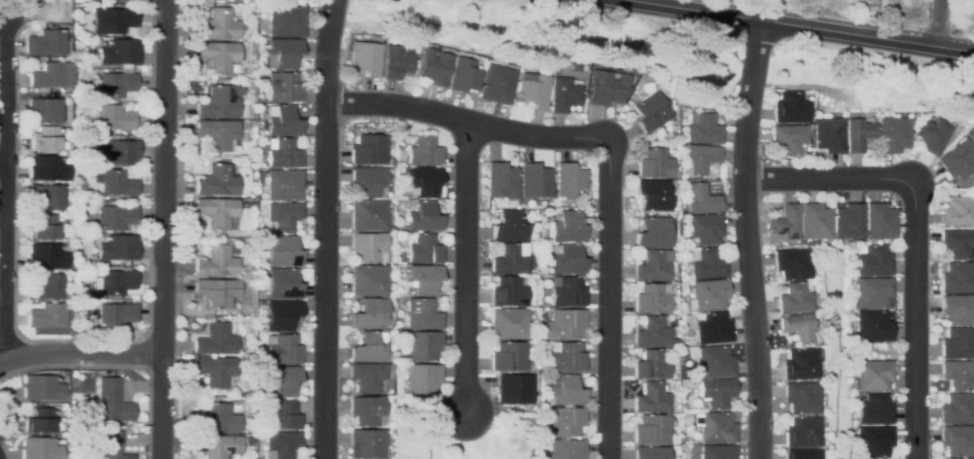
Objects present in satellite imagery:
road: (665, 3)
building: (80, 10)
building: (118, 20)
building: (286, 21)
road: (938, 23)
building: (218, 25)
road: (801, 25)
building: (47, 42)
building: (120, 52)
building: (285, 52)
building: (219, 56)
building: (365, 59)
building: (396, 63)
building: (435, 68)
building: (53, 76)
building: (465, 76)
building: (497, 84)
building: (114, 85)
building: (283, 87)
building: (607, 88)
building: (533, 90)
building: (565, 94)
building: (259, 102)
building: (218, 103)
building: (791, 108)
building: (44, 110)
building: (652, 111)
building: (113, 117)
building: (253, 118)
building: (244, 121)
building: (283, 122)
building: (672, 122)
road: (467, 124)
building: (672, 128)
building: (701, 128)
building: (962, 130)
building: (218, 134)
building: (858, 134)
building: (669, 135)
building: (829, 135)
building: (893, 135)
building: (933, 135)
building: (789, 138)
building: (45, 139)
building: (369, 149)
building: (118, 151)
building: (424, 152)
building: (283, 153)
building: (699, 158)
building: (958, 159)
road: (4, 161)
building: (655, 164)
building: (47, 168)
building: (569, 179)
building: (501, 180)
road: (828, 180)
building: (217, 181)
building: (369, 181)
building: (534, 181)
building: (114, 182)
building: (422, 182)
building: (284, 185)
road: (7, 191)
building: (653, 195)
building: (45, 196)
building: (699, 198)
building: (248, 199)
building: (79, 207)
building: (958, 211)
building: (216, 212)
building: (368, 215)
building: (282, 216)
building: (116, 217)
building: (423, 217)
building: (880, 221)
building: (848, 222)
building: (815, 223)
building: (785, 224)
building: (42, 227)
building: (508, 227)
building: (567, 227)
building: (390, 228)
road: (163, 229)
road: (325, 229)
building: (703, 229)
building: (653, 233)
road: (749, 238)
building: (958, 243)
building: (368, 247)
building: (114, 248)
building: (423, 250)
building: (281, 251)
building: (46, 257)
building: (566, 259)
building: (509, 260)
building: (873, 261)
building: (216, 262)
building: (705, 264)
building: (793, 264)
building: (653, 266)
road: (467, 268)
building: (958, 278)
building: (423, 279)
building: (367, 280)
building: (114, 282)
building: (282, 284)
building: (47, 287)
building: (217, 291)
building: (507, 292)
building: (566, 292)
building: (872, 292)
building: (708, 294)
building: (652, 299)
building: (795, 299)
road: (610, 303)
building: (958, 309)
building: (370, 314)
building: (421, 314)
building: (116, 315)
building: (281, 315)
building: (47, 316)
road: (916, 322)
building: (508, 324)
building: (564, 324)
building: (872, 326)
building: (801, 328)
building: (713, 329)
building: (258, 331)
building: (652, 333)
building: (215, 340)
building: (958, 343)
building: (422, 346)
building: (368, 348)
building: (282, 350)
road: (80, 354)
building: (508, 357)
building: (566, 357)
building: (712, 361)
building: (801, 364)
building: (651, 366)
building: (215, 370)
building: (957, 374)
building: (873, 375)
building: (367, 377)
building: (422, 378)
building: (282, 380)
building: (42, 388)
building: (515, 388)
building: (565, 390)
building: (715, 392)
building: (802, 397)
building: (652, 398)
building: (109, 402)
building: (958, 409)
building: (367, 410)
building: (874, 410)
building: (280, 414)
building: (213, 419)
building: (40, 421)
building: (565, 422)
building: (124, 424)
building: (716, 428)
building: (652, 429)
building: (803, 432)
building: (259, 435)
building: (958, 440)
building: (873, 441)
building: (280, 444)
building: (367, 444)
building: (113, 446)
building: (217, 446)
building: (40, 449)
building: (566, 449)
building: (717, 452)
building: (651, 453)
building: (803, 454)
building: (962, 458)

